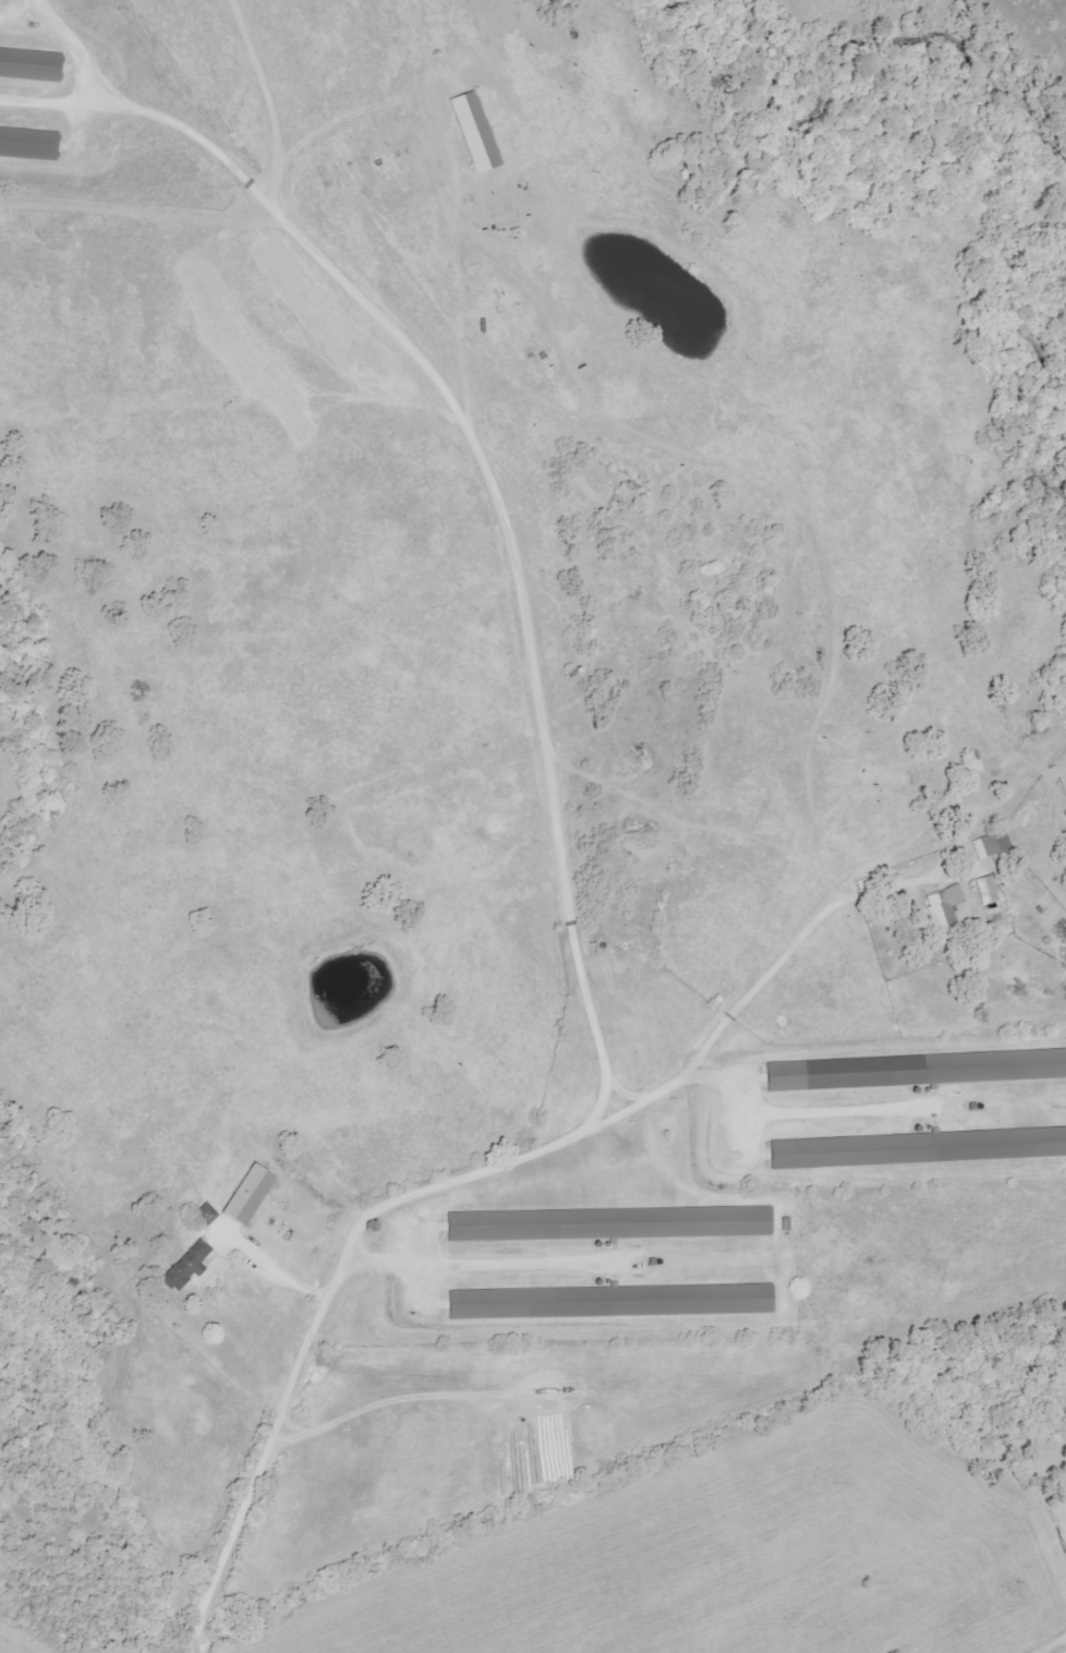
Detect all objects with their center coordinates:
building: (31, 61)
building: (474, 130)
building: (28, 140)
road: (475, 453)
building: (992, 844)
building: (985, 890)
building: (945, 910)
building: (911, 1070)
road: (606, 1081)
building: (920, 1147)
road: (456, 1182)
building: (246, 1194)
building: (608, 1222)
building: (187, 1264)
road: (277, 1274)
building: (610, 1301)
road: (1063, 1650)

